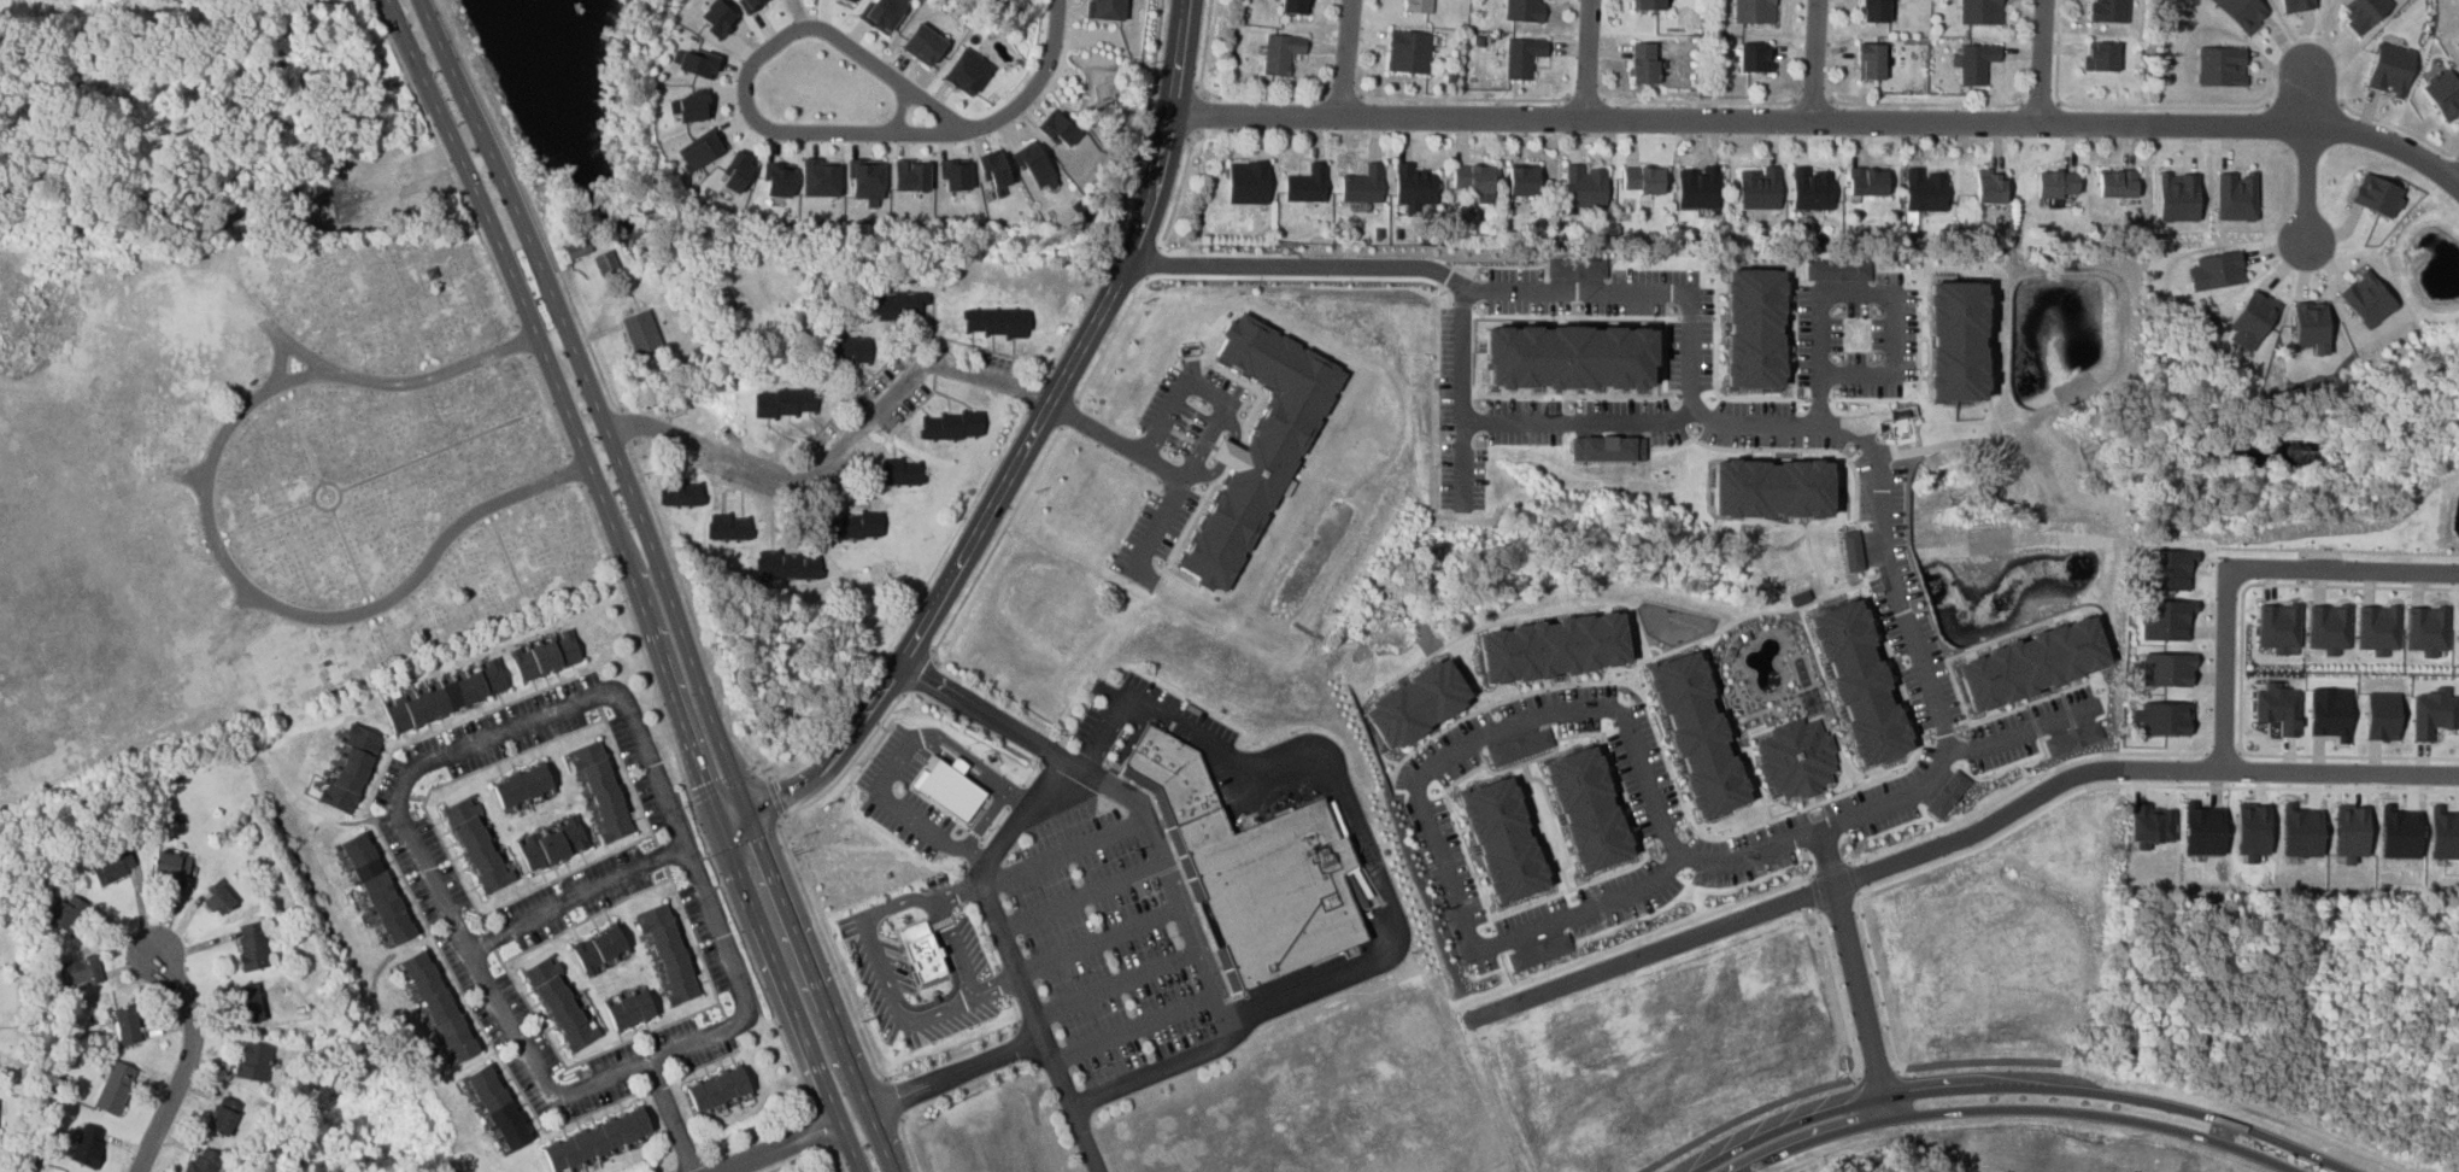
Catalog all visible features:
building: (851, 0)
building: (1548, 0)
building: (749, 4)
building: (1648, 5)
building: (2297, 5)
building: (1295, 6)
building: (1419, 6)
building: (1107, 10)
building: (1525, 10)
building: (1754, 11)
building: (1876, 11)
building: (2107, 11)
building: (1980, 12)
building: (2244, 12)
building: (2366, 12)
building: (884, 13)
building: (718, 18)
building: (2458, 41)
building: (922, 45)
road: (1204, 47)
building: (1408, 52)
building: (1280, 53)
road: (1178, 55)
building: (1521, 55)
road: (1348, 57)
building: (2102, 57)
road: (1589, 58)
building: (1755, 58)
road: (1817, 59)
building: (1872, 61)
road: (2042, 61)
building: (697, 63)
building: (1644, 63)
building: (1977, 63)
building: (2222, 65)
building: (2391, 68)
road: (749, 70)
building: (966, 72)
road: (1155, 80)
road: (1038, 81)
road: (1175, 83)
road: (1197, 84)
building: (2445, 93)
road: (1204, 95)
road: (1263, 95)
road: (1342, 95)
road: (1586, 96)
road: (1465, 98)
road: (1700, 100)
road: (1813, 101)
road: (2042, 101)
road: (2306, 102)
road: (1926, 104)
building: (691, 106)
road: (2113, 106)
road: (900, 110)
road: (1145, 112)
road: (1199, 113)
road: (1821, 119)
road: (2399, 127)
building: (1057, 129)
road: (1148, 129)
road: (1167, 134)
road: (1166, 137)
road: (1189, 139)
building: (700, 148)
road: (2306, 154)
road: (445, 162)
building: (1035, 165)
building: (993, 169)
building: (735, 171)
building: (910, 176)
building: (955, 176)
building: (1472, 178)
building: (777, 180)
building: (820, 180)
building: (867, 180)
building: (1643, 180)
building: (1522, 181)
building: (1246, 182)
building: (1868, 182)
building: (2056, 183)
building: (2117, 183)
building: (1305, 184)
building: (1362, 186)
building: (1414, 186)
building: (1585, 187)
building: (1990, 187)
road: (1179, 188)
building: (1697, 188)
building: (1759, 188)
building: (1812, 189)
building: (1925, 191)
road: (476, 195)
building: (2235, 195)
building: (2377, 195)
building: (2178, 197)
road: (530, 204)
road: (518, 211)
road: (1145, 212)
building: (576, 248)
road: (1152, 263)
building: (601, 264)
building: (1578, 266)
building: (2216, 269)
building: (1838, 270)
road: (1299, 276)
road: (1874, 283)
building: (2367, 299)
building: (897, 306)
building: (2250, 318)
building: (994, 322)
building: (2311, 324)
building: (1754, 327)
building: (640, 334)
road: (1110, 338)
road: (522, 340)
building: (1956, 342)
building: (847, 351)
road: (298, 352)
building: (1571, 357)
road: (280, 362)
road: (1475, 385)
road: (1702, 392)
building: (785, 403)
road: (550, 404)
road: (1044, 411)
road: (1067, 414)
road: (1590, 414)
road: (627, 423)
building: (950, 426)
road: (1217, 427)
road: (575, 429)
road: (300, 434)
road: (1119, 439)
building: (1261, 444)
road: (835, 449)
building: (1609, 449)
road: (430, 455)
road: (1110, 456)
road: (576, 470)
building: (899, 471)
road: (190, 476)
park: (248, 484)
building: (1771, 487)
building: (680, 492)
road: (331, 509)
road: (263, 521)
building: (852, 526)
building: (732, 531)
road: (215, 541)
road: (994, 545)
building: (1853, 551)
road: (351, 559)
building: (799, 568)
road: (2241, 568)
building: (2166, 569)
road: (2269, 584)
road: (237, 597)
road: (931, 610)
road: (693, 615)
building: (2165, 619)
building: (2278, 626)
building: (2329, 627)
building: (2378, 628)
building: (2426, 628)
building: (1549, 647)
building: (546, 657)
building: (2036, 663)
building: (2165, 668)
road: (919, 678)
building: (1864, 682)
road: (882, 688)
building: (445, 696)
building: (1410, 703)
road: (1571, 707)
building: (2278, 707)
building: (2434, 711)
building: (2330, 713)
building: (2382, 715)
building: (2162, 717)
road: (2029, 726)
building: (1692, 734)
building: (2076, 738)
building: (1519, 746)
road: (2223, 751)
road: (2349, 755)
building: (1795, 756)
road: (975, 762)
road: (850, 763)
road: (2194, 769)
building: (350, 770)
road: (415, 770)
road: (1031, 770)
road: (2341, 772)
building: (1173, 773)
road: (717, 777)
road: (814, 777)
building: (944, 780)
road: (2146, 784)
road: (1336, 785)
road: (2023, 785)
building: (522, 786)
building: (599, 791)
road: (1015, 791)
building: (1949, 793)
road: (775, 796)
road: (743, 801)
road: (1126, 801)
road: (904, 809)
building: (1589, 809)
traffic signals: (747, 813)
road: (733, 820)
road: (994, 820)
road: (717, 821)
building: (2150, 825)
traffic signals: (720, 827)
building: (2203, 828)
building: (2252, 830)
building: (2301, 831)
building: (2351, 832)
building: (2400, 832)
building: (2445, 832)
building: (1504, 840)
building: (477, 844)
building: (552, 845)
road: (970, 846)
road: (703, 851)
road: (1063, 854)
road: (963, 865)
building: (169, 866)
road: (1830, 866)
building: (111, 867)
road: (1855, 877)
road: (962, 886)
building: (1273, 889)
building: (376, 890)
road: (1818, 890)
road: (1813, 892)
road: (959, 893)
road: (1080, 898)
road: (574, 899)
building: (217, 901)
road: (1838, 904)
road: (1583, 909)
building: (64, 914)
road: (984, 932)
road: (1647, 934)
road: (1098, 942)
road: (826, 945)
building: (252, 948)
building: (599, 948)
road: (956, 948)
building: (920, 950)
building: (1540, 951)
building: (669, 953)
parking lot: (1103, 954)
road: (1009, 956)
road: (879, 967)
building: (80, 971)
road: (1854, 972)
road: (1003, 977)
road: (1877, 980)
road: (994, 984)
road: (1114, 985)
road: (1838, 994)
building: (247, 1002)
building: (561, 1002)
building: (436, 1007)
building: (628, 1010)
building: (125, 1026)
road: (1132, 1031)
road: (968, 1045)
road: (187, 1059)
road: (1980, 1060)
building: (252, 1062)
road: (1877, 1070)
road: (953, 1073)
road: (1150, 1074)
road: (2019, 1078)
building: (115, 1088)
building: (716, 1090)
road: (892, 1090)
road: (2011, 1108)
building: (497, 1109)
building: (222, 1115)
road: (669, 1115)
road: (1742, 1115)
road: (812, 1130)
building: (595, 1141)
road: (906, 1141)
building: (86, 1144)
road: (780, 1144)
road: (838, 1155)
road: (794, 1160)
building: (201, 1162)
road: (691, 1164)
road: (670, 1171)

